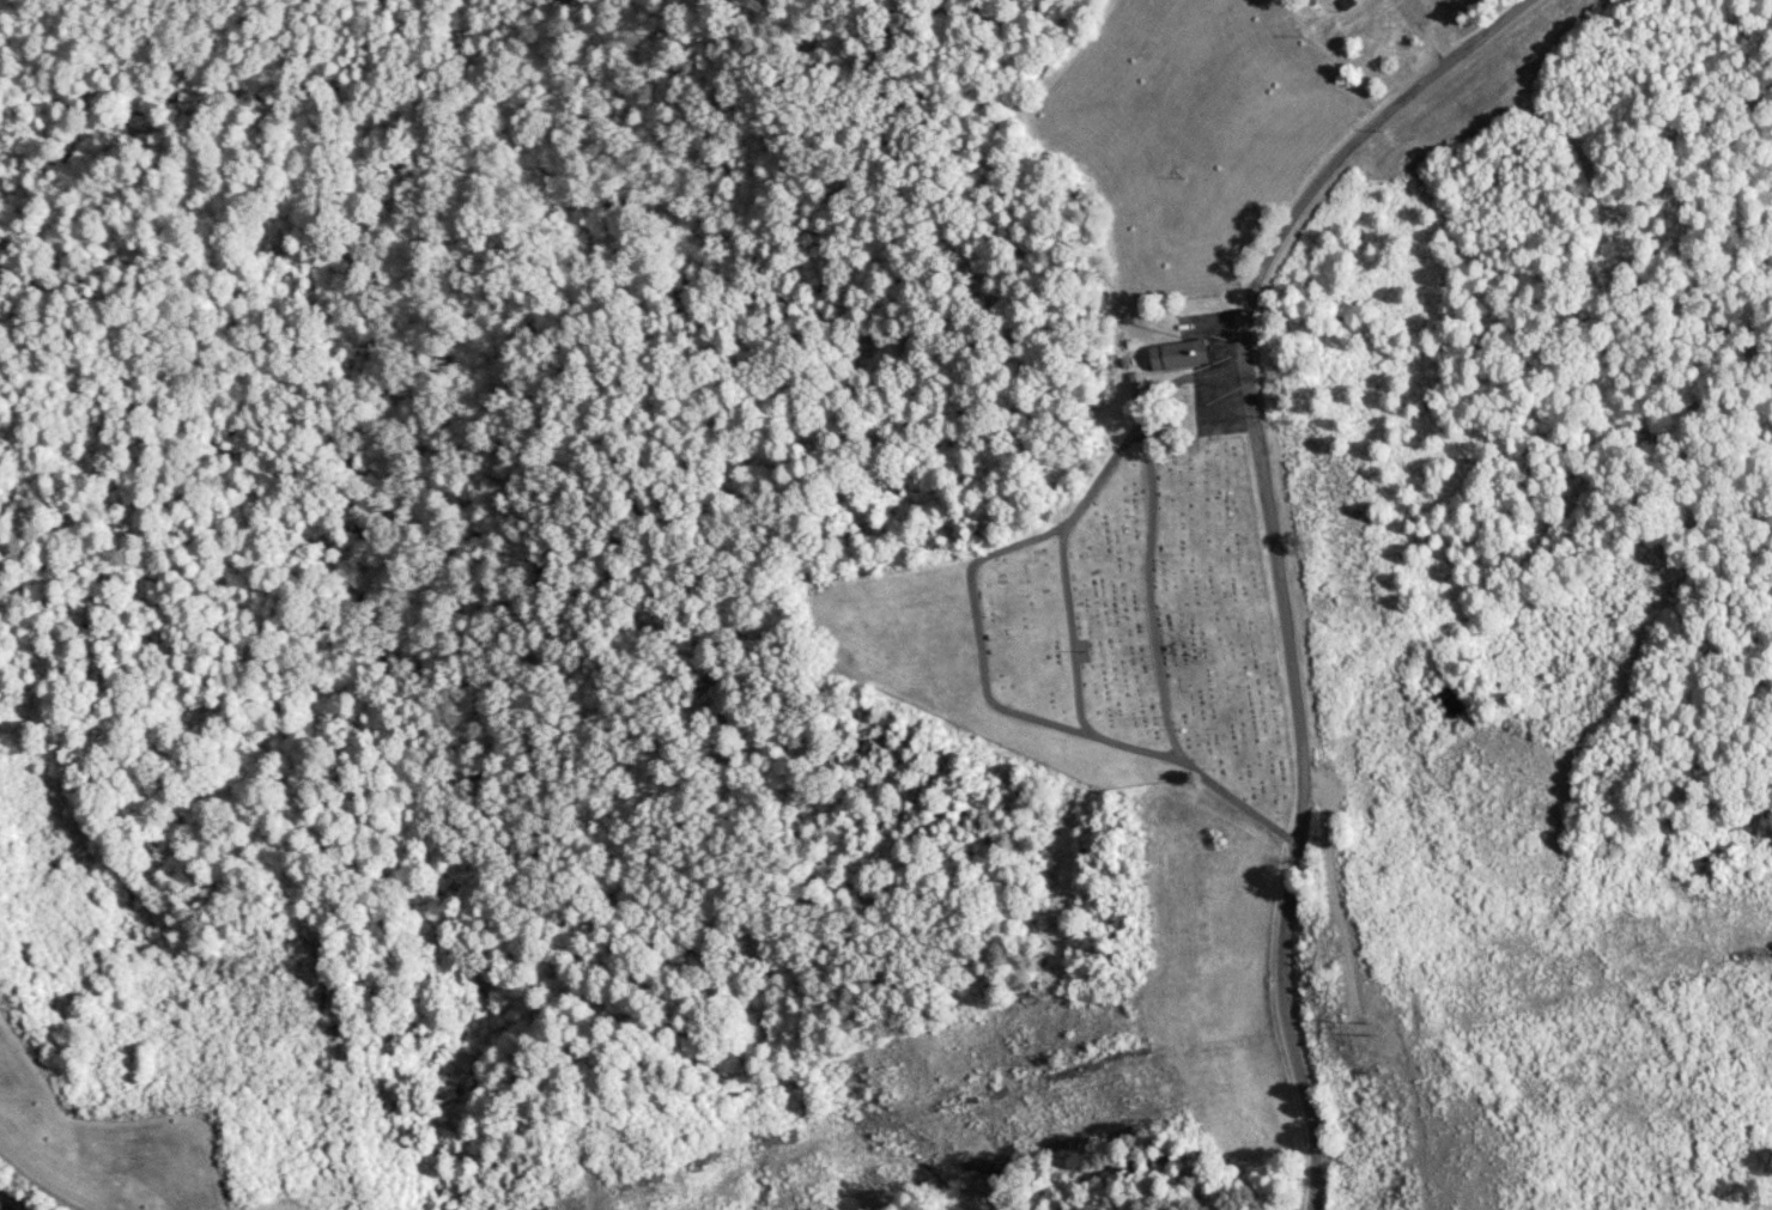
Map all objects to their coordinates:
building: (1178, 355)
road: (49, 482)
road: (1275, 545)
road: (982, 656)
road: (44, 1180)
road: (6, 1205)

